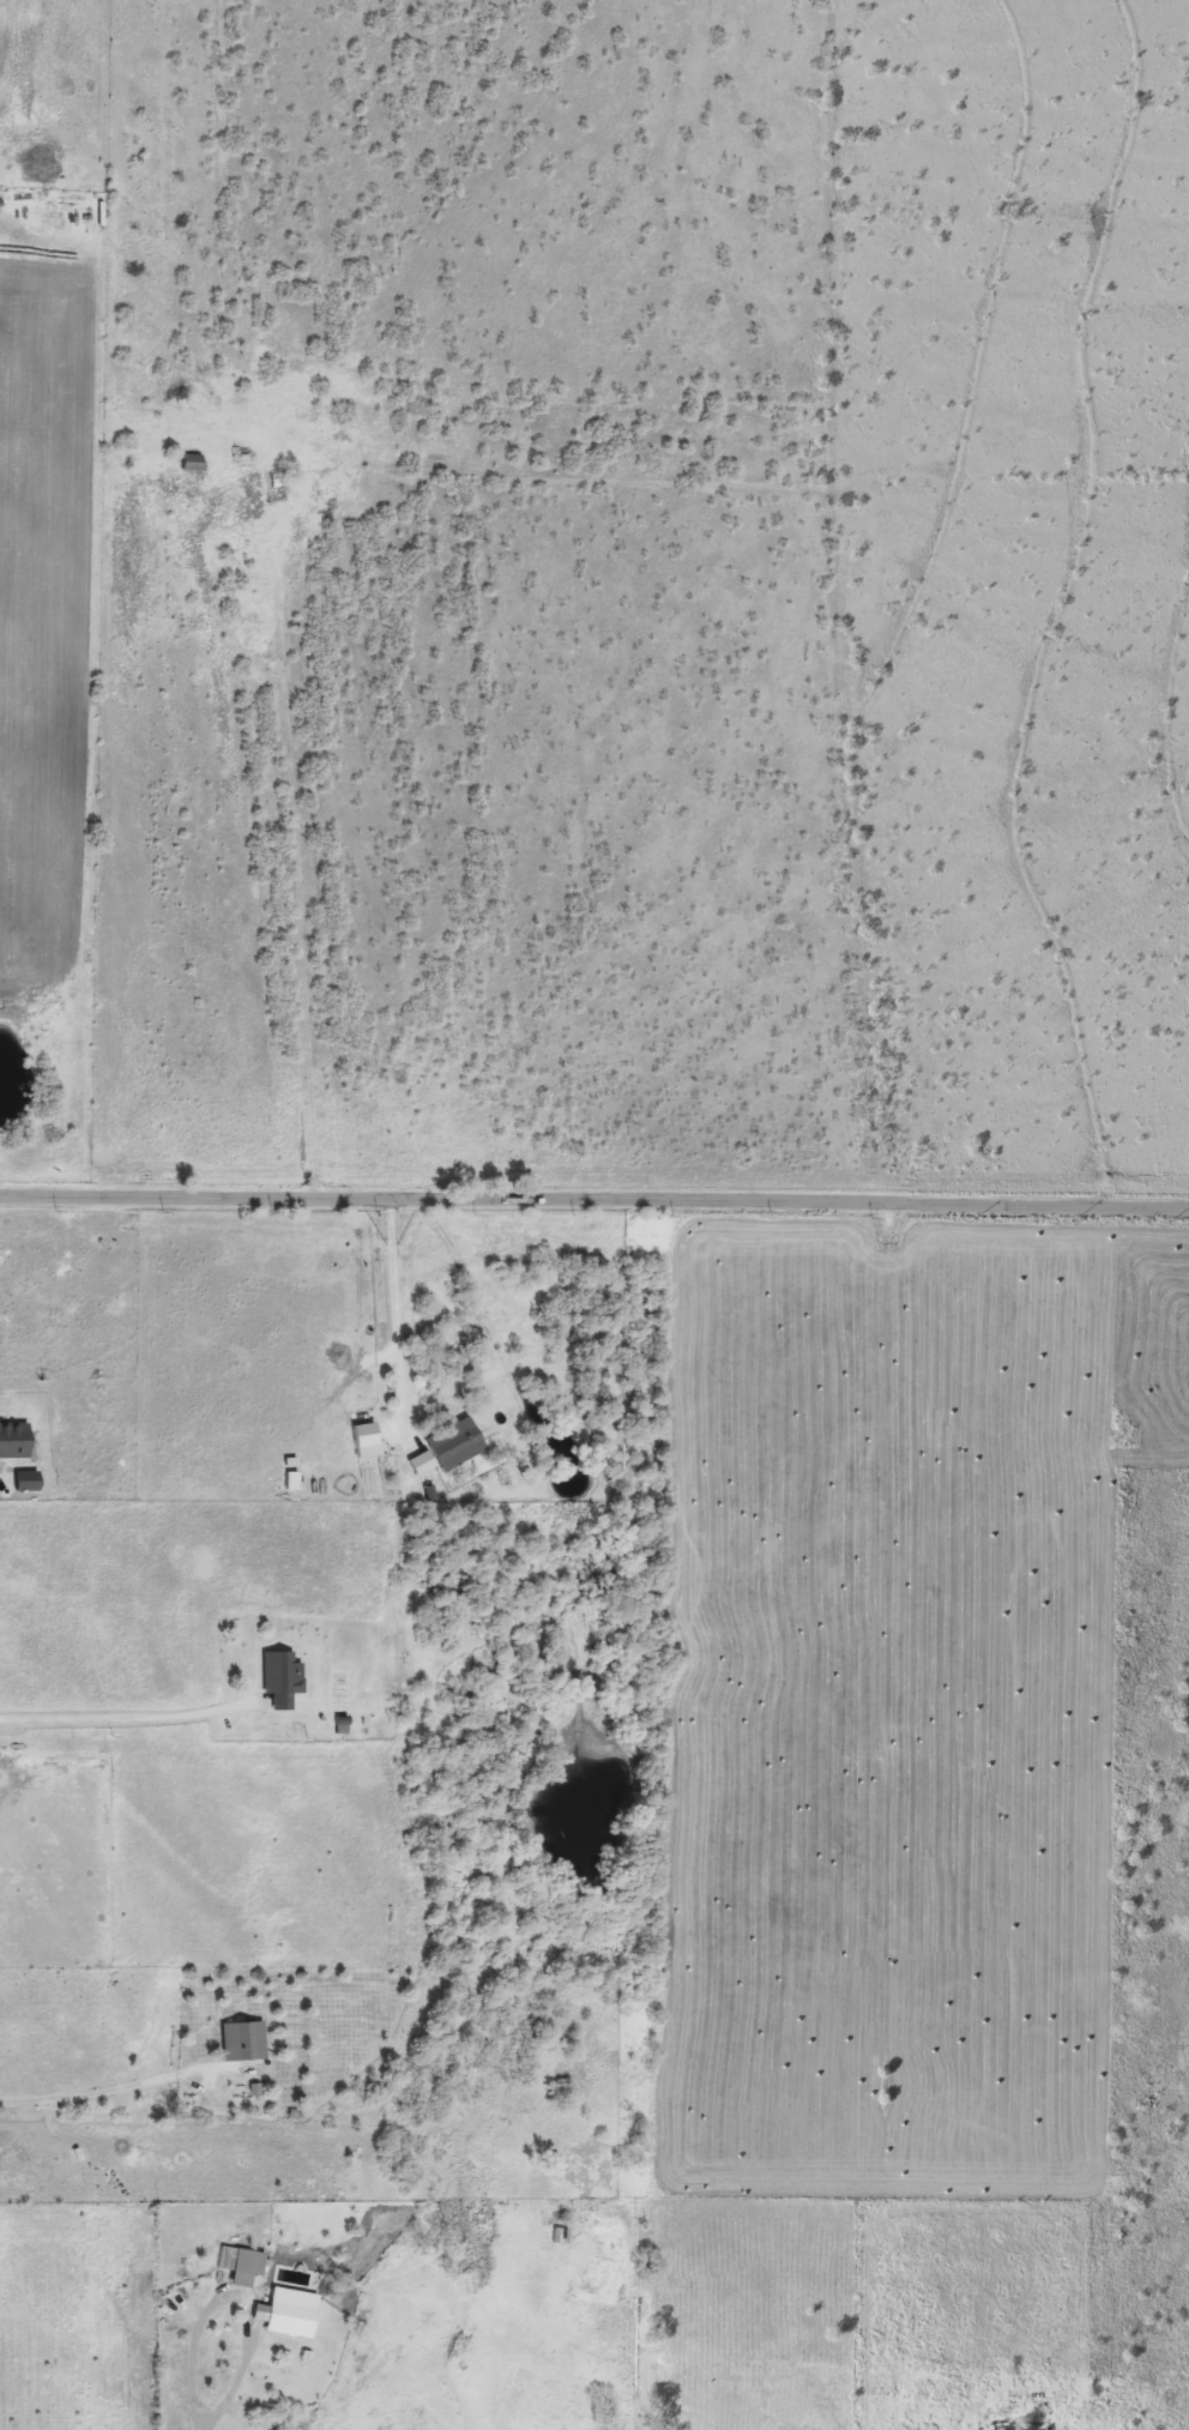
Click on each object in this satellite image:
building: (194, 462)
road: (594, 1200)
road: (472, 1235)
road: (397, 1325)
building: (458, 1443)
building: (284, 1678)
road: (125, 1718)
building: (246, 2042)
road: (122, 2082)
building: (561, 2236)
building: (249, 2265)
road: (237, 2295)
building: (286, 2315)
road: (201, 2424)

